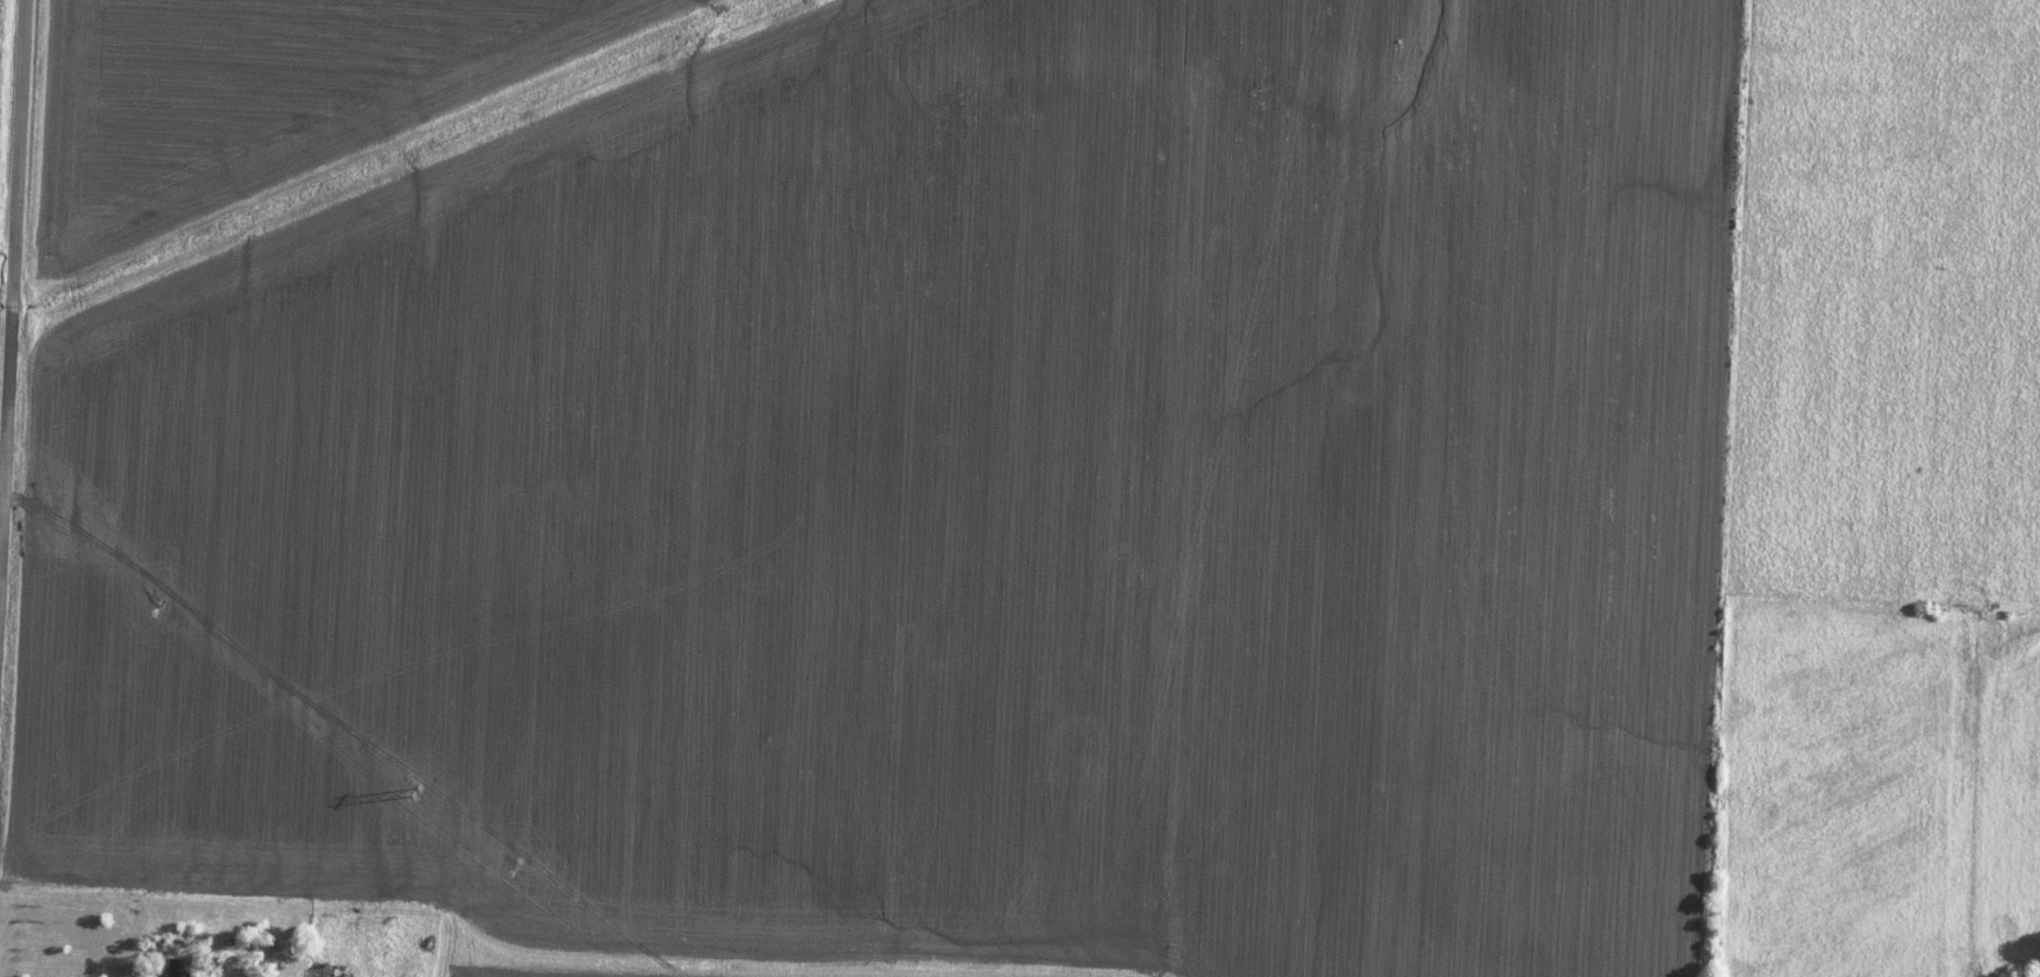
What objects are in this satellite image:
road: (12, 286)
building: (177, 967)
building: (322, 972)

